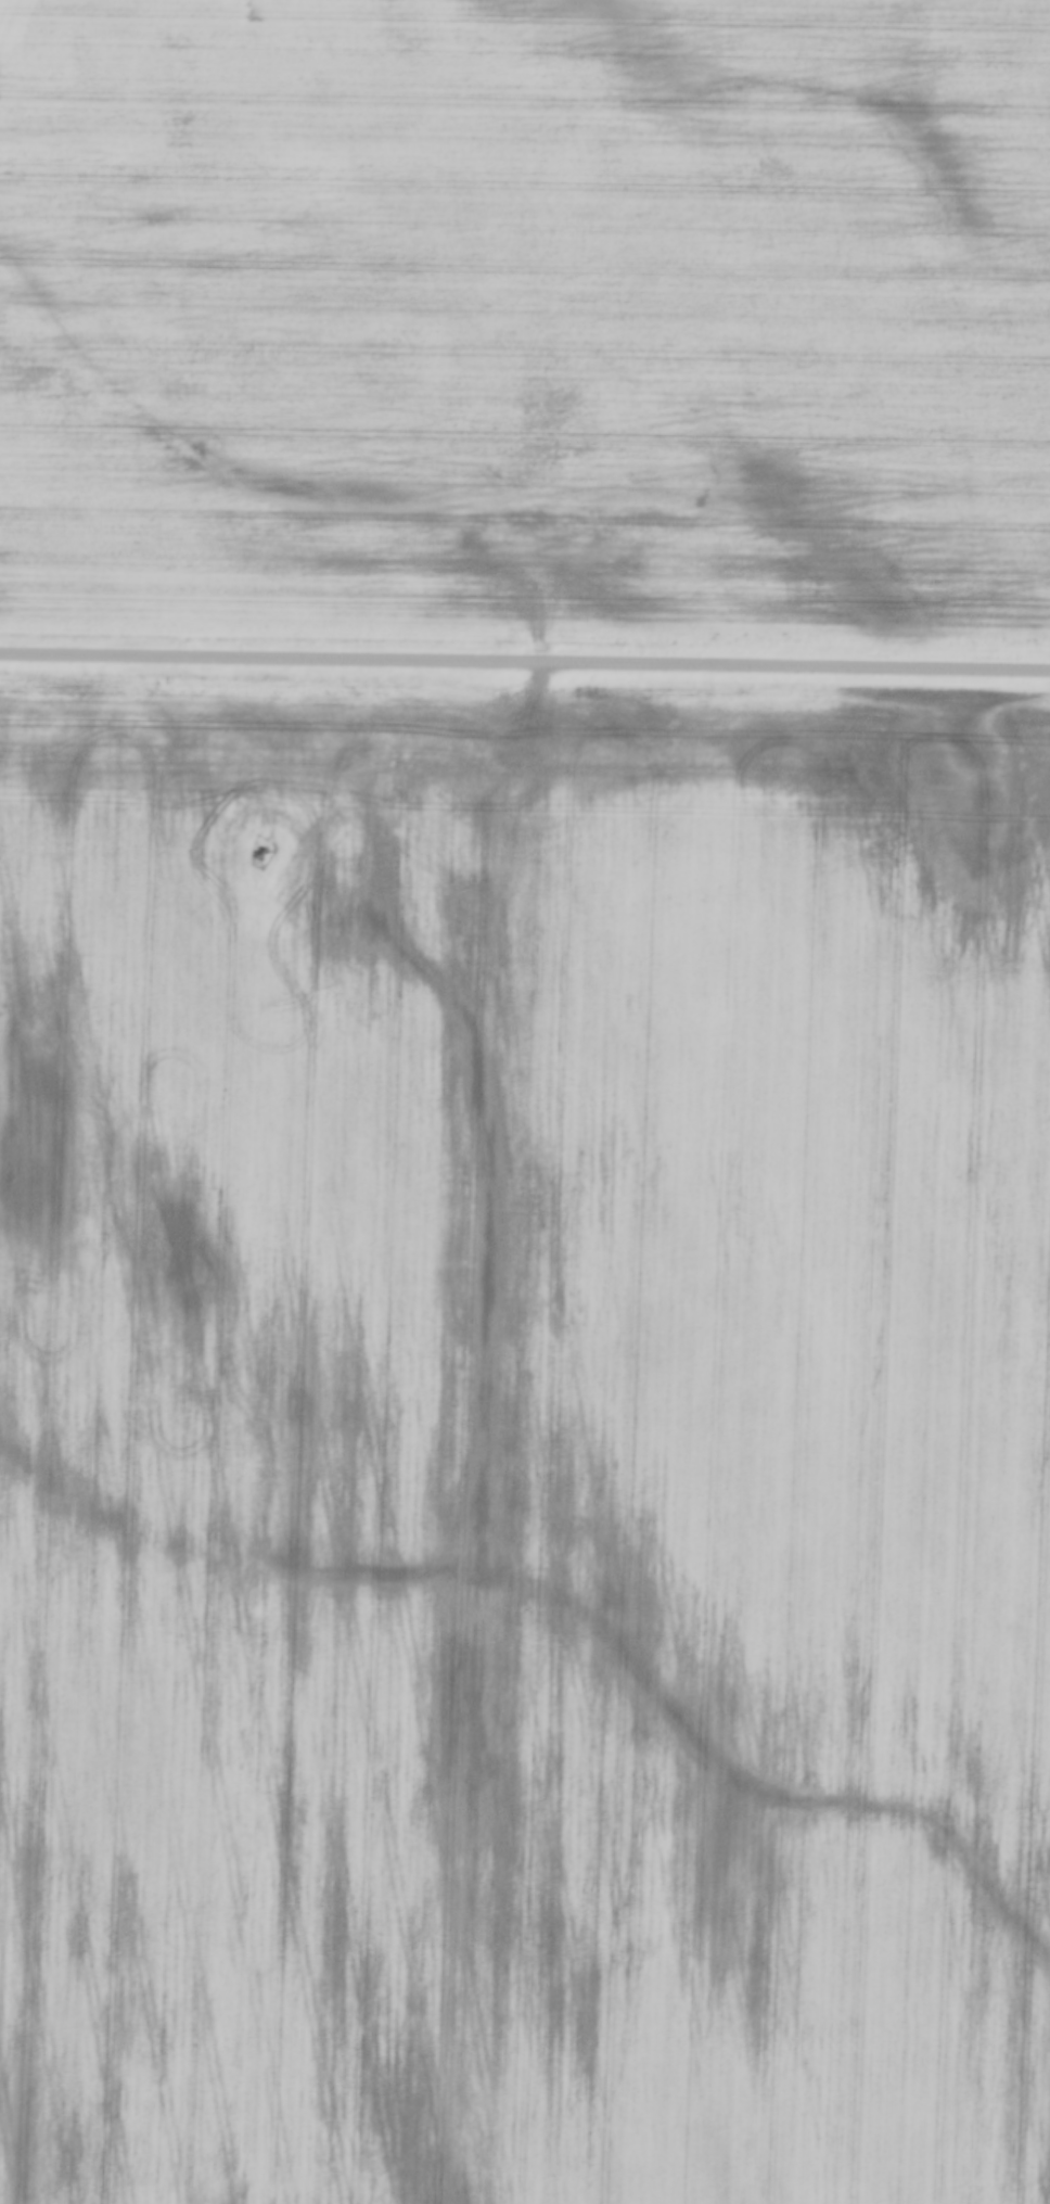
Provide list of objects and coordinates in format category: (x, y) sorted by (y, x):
road: (524, 663)

